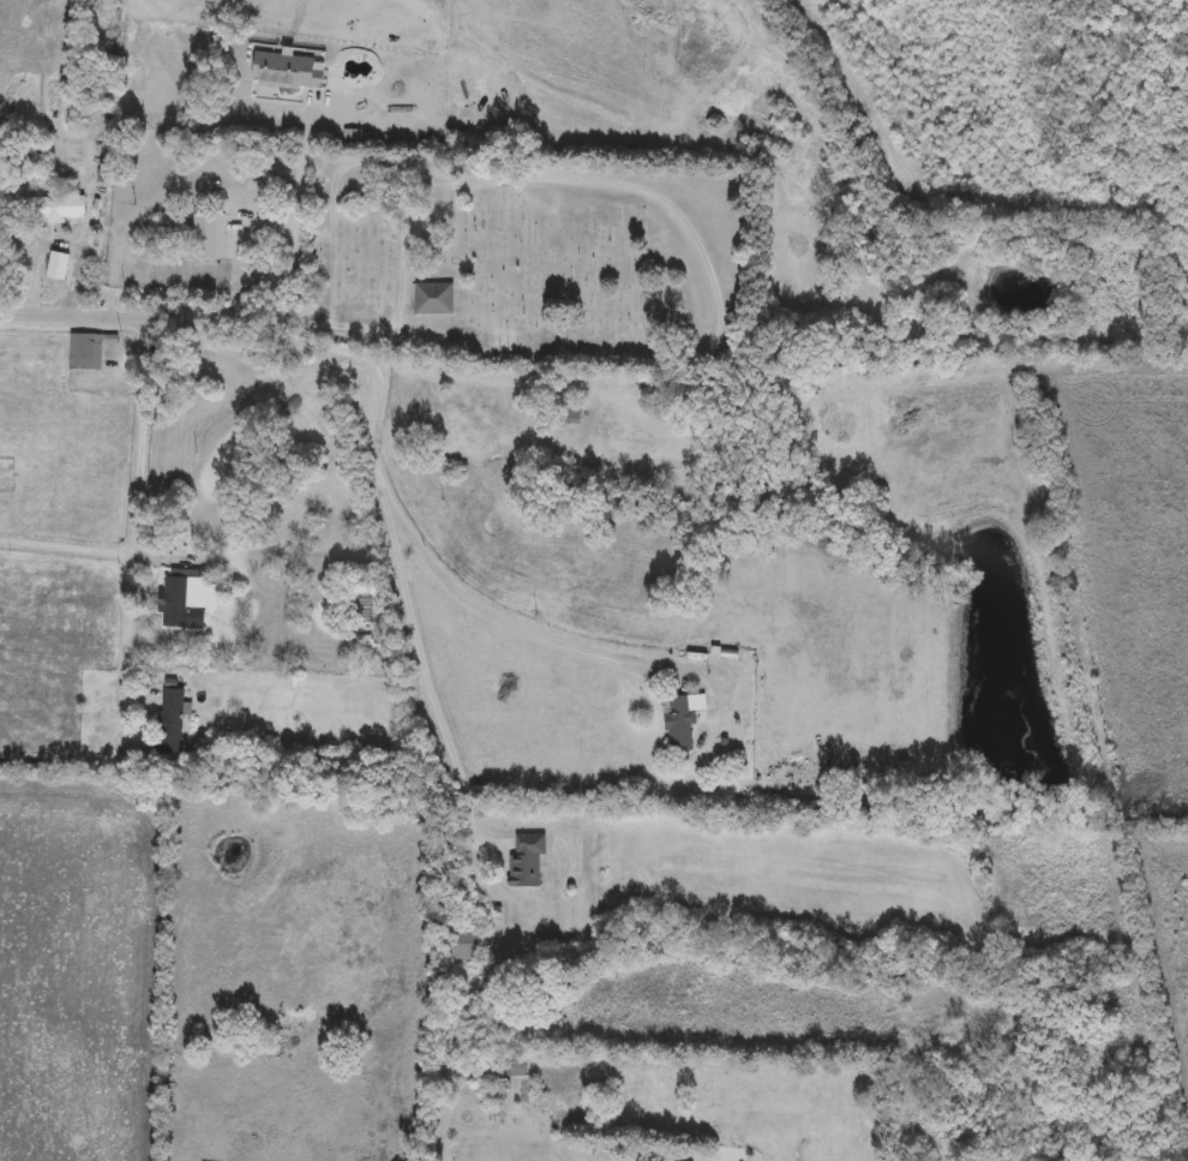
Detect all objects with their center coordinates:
building: (287, 72)
road: (638, 191)
road: (293, 216)
building: (194, 228)
road: (401, 251)
park: (523, 259)
building: (433, 299)
road: (164, 318)
building: (85, 353)
building: (569, 413)
road: (137, 503)
road: (386, 505)
road: (100, 552)
building: (187, 599)
road: (422, 675)
building: (170, 722)
building: (679, 724)
building: (527, 861)
building: (466, 946)
building: (511, 1065)

